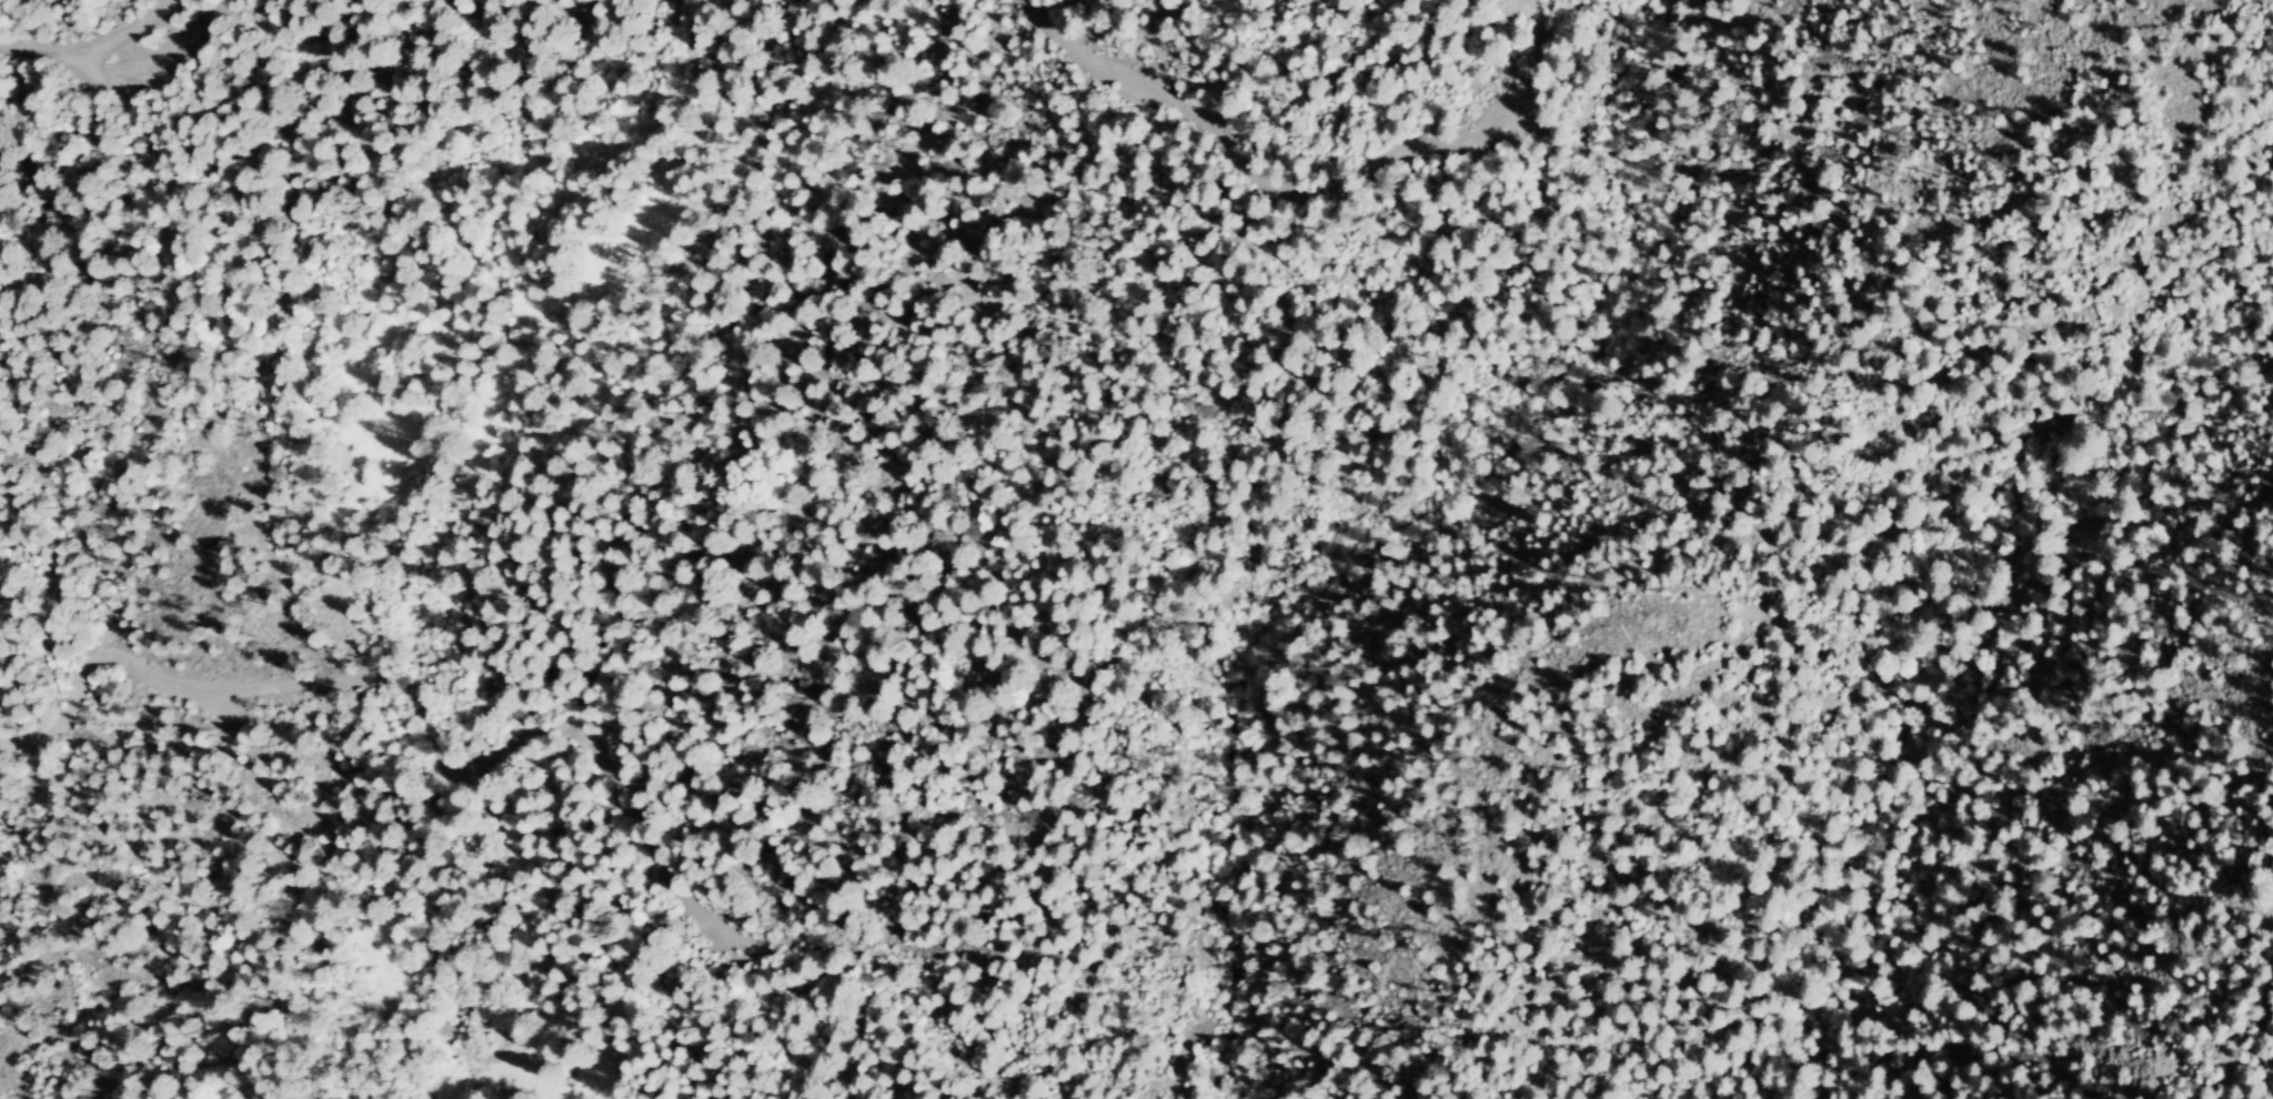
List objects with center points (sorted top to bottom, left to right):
road: (38, 18)
road: (449, 723)

